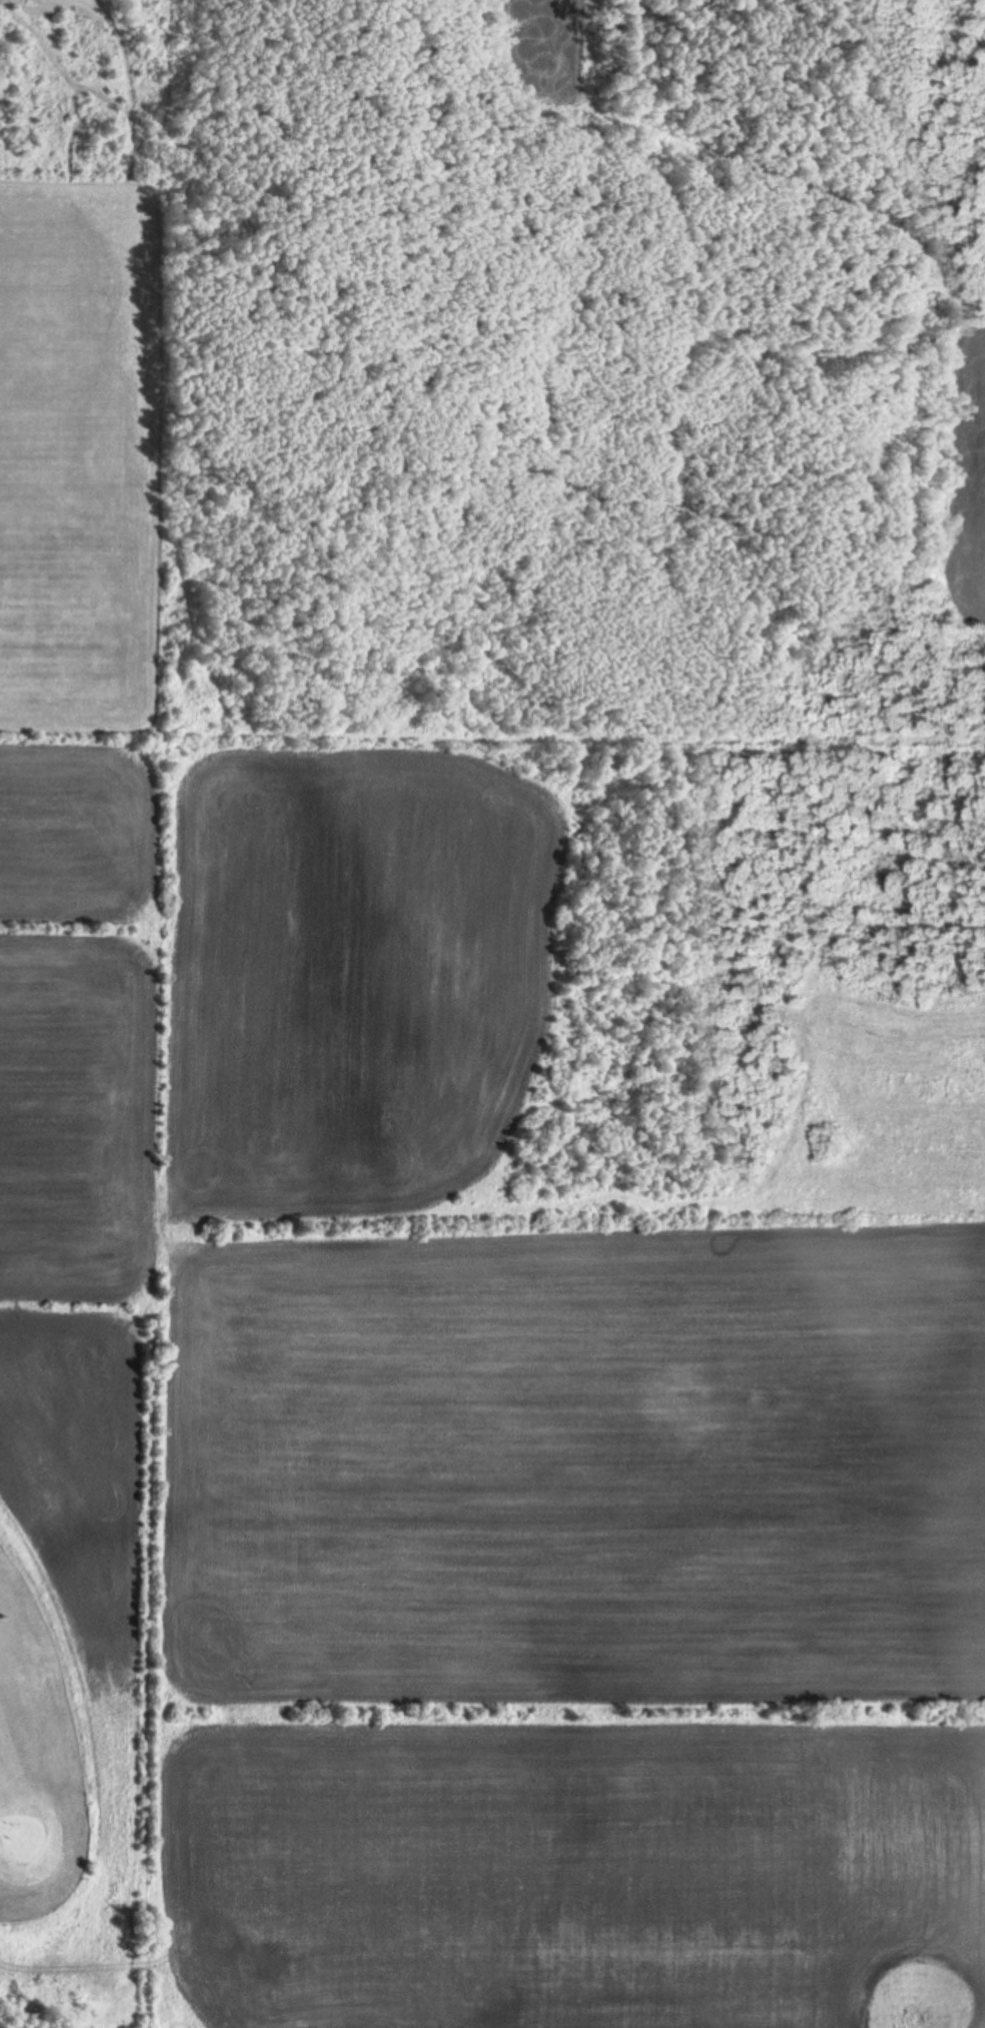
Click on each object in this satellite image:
park: (491, 1387)

